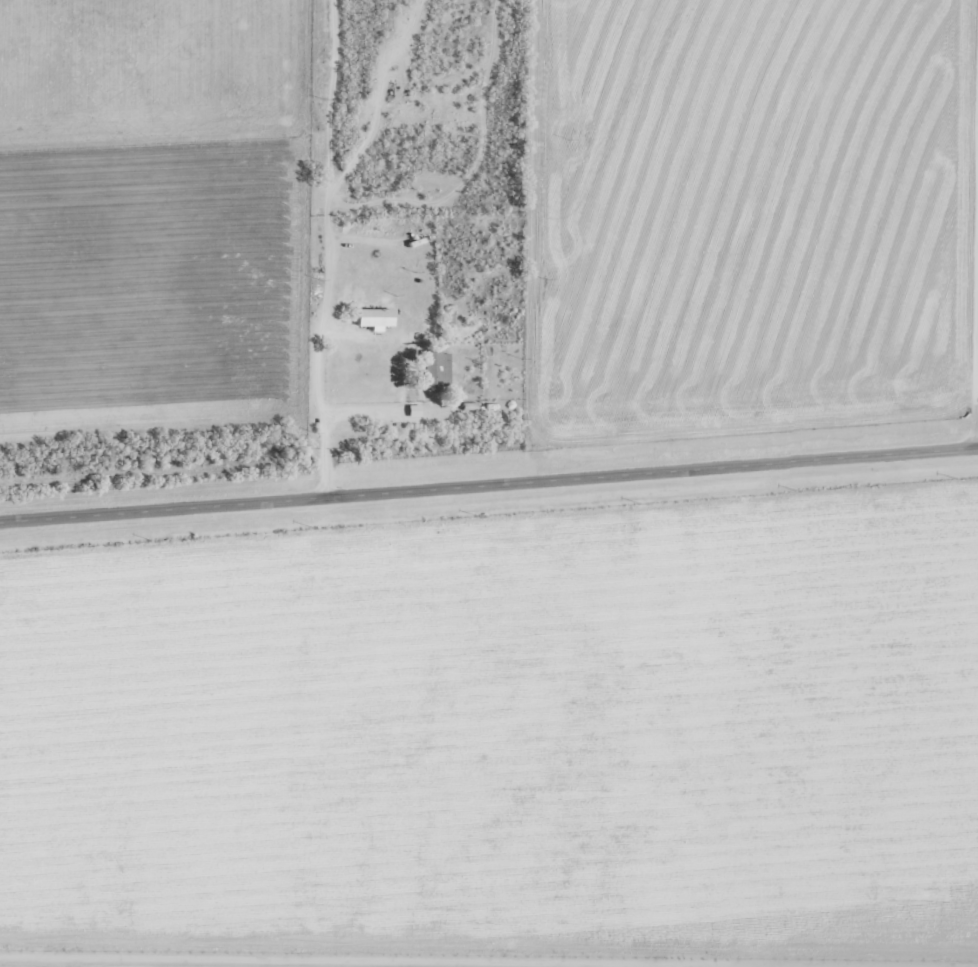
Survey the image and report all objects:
building: (372, 318)
railway: (489, 450)
road: (489, 486)

